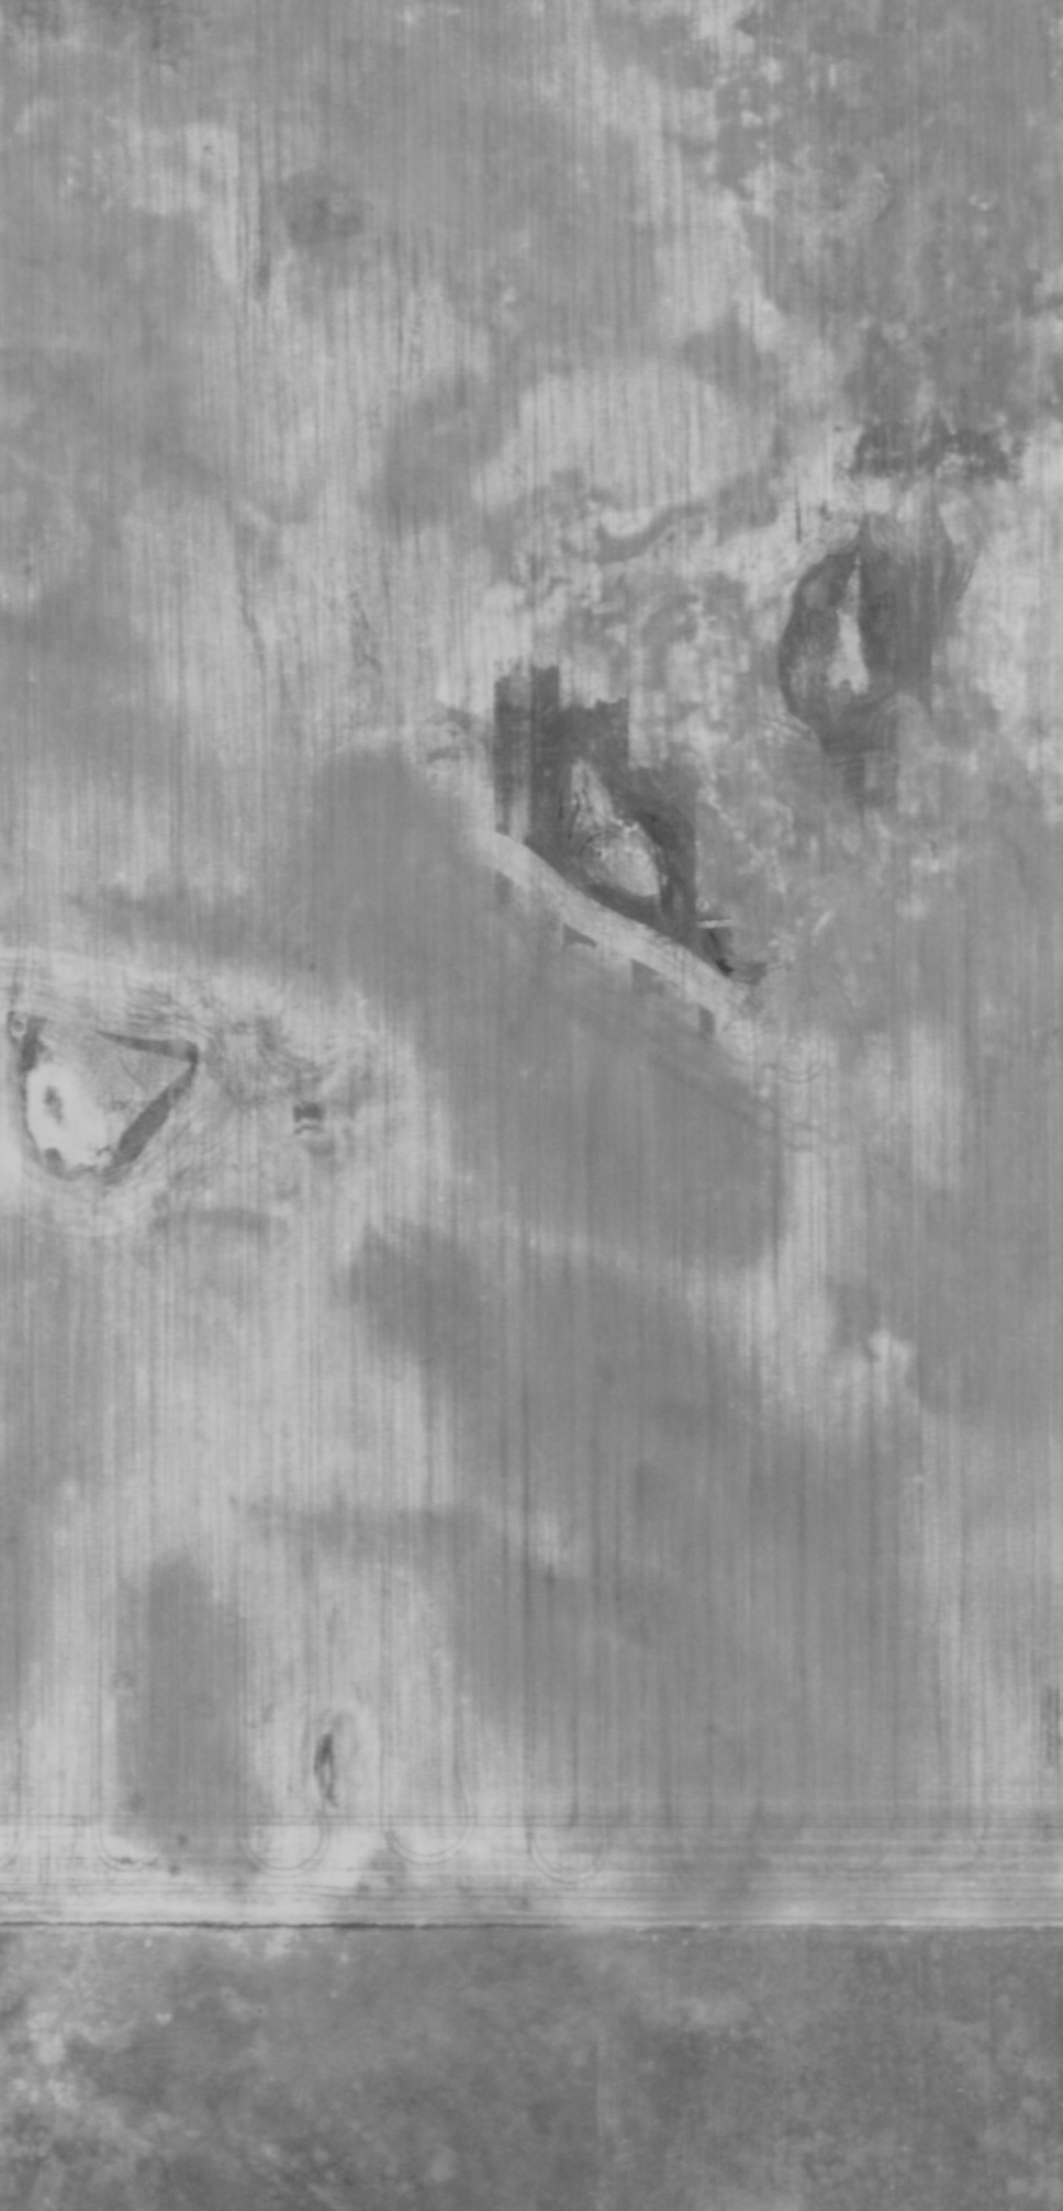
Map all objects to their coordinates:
road: (531, 1922)

